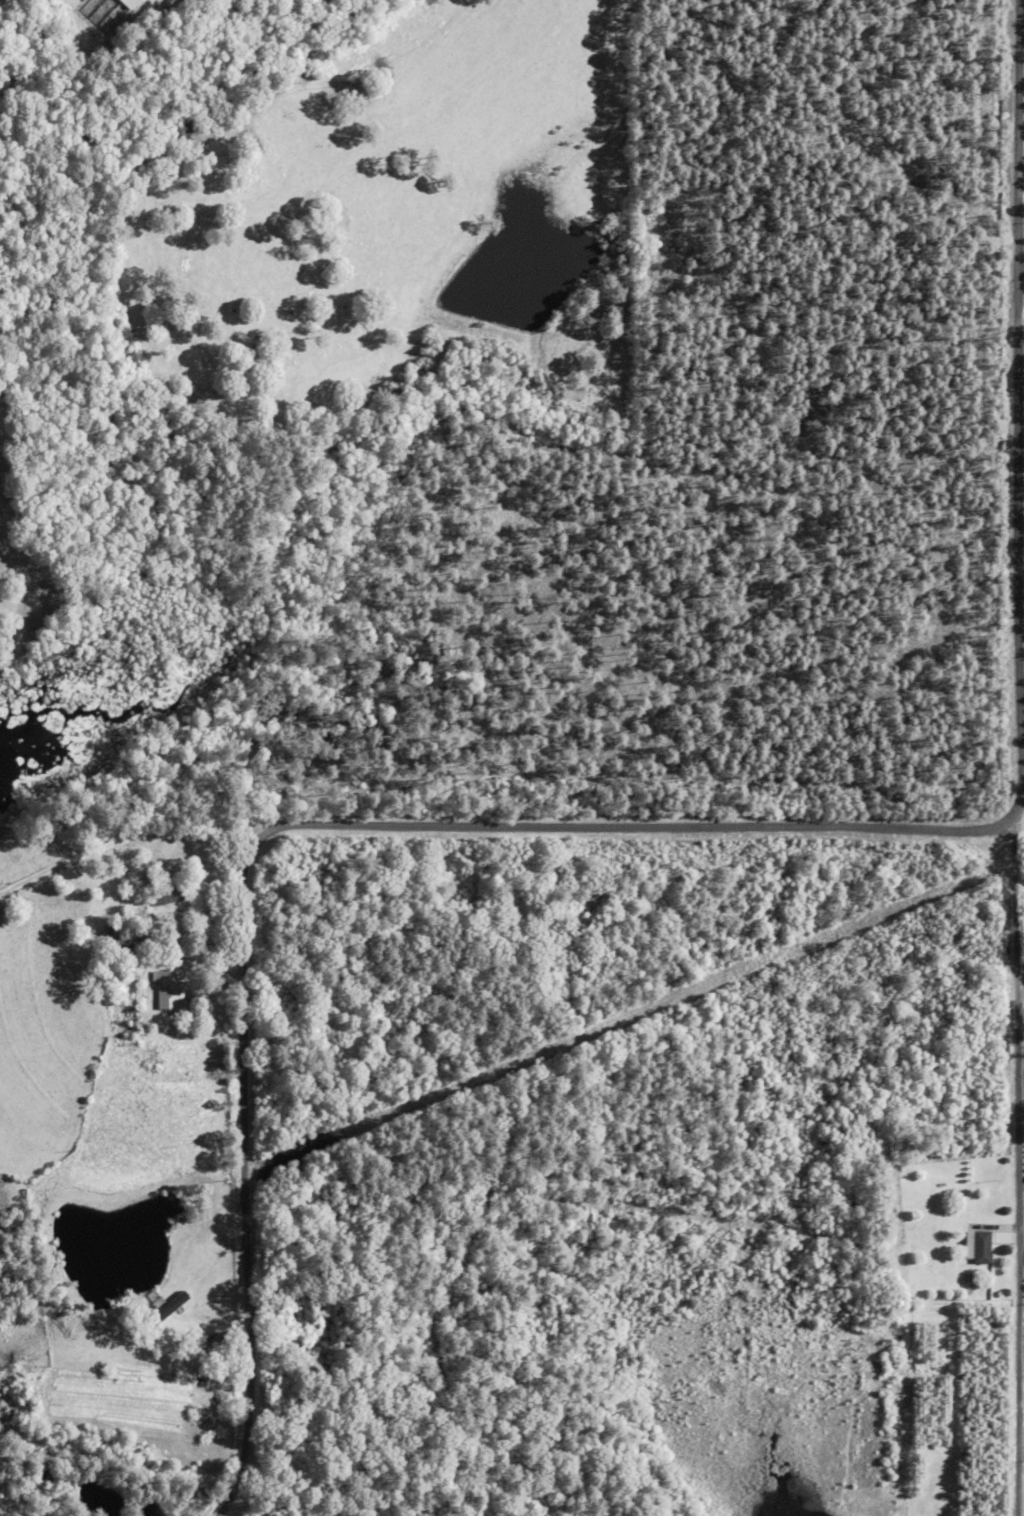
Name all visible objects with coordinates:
building: (129, 3)
building: (96, 9)
road: (700, 833)
building: (170, 894)
building: (169, 989)
road: (1016, 1165)
building: (979, 1245)
building: (167, 1302)

